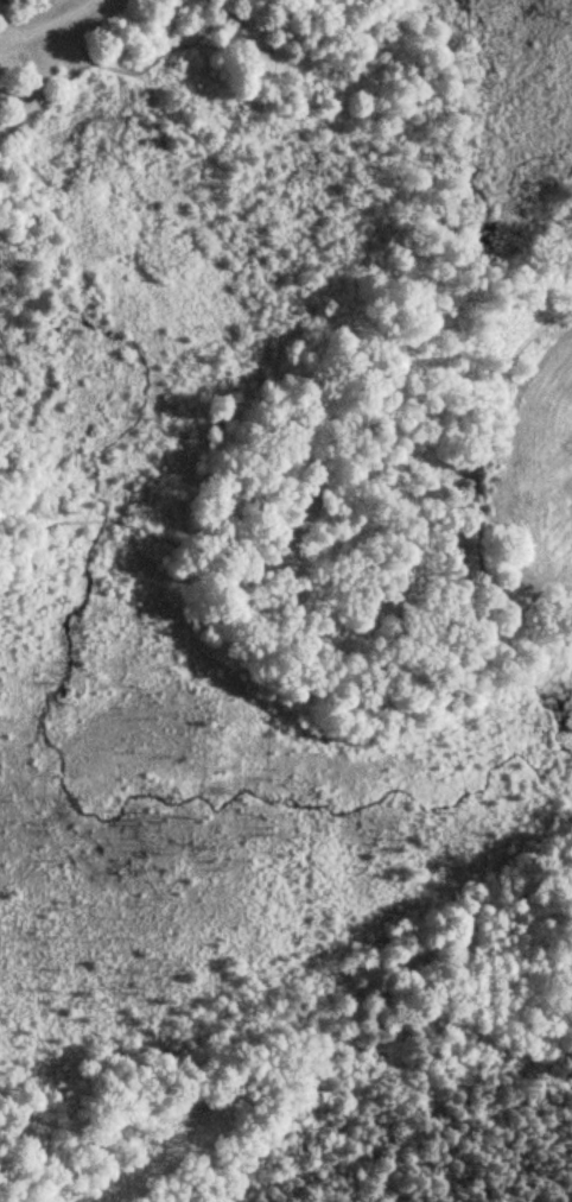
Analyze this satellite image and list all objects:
road: (52, 26)

